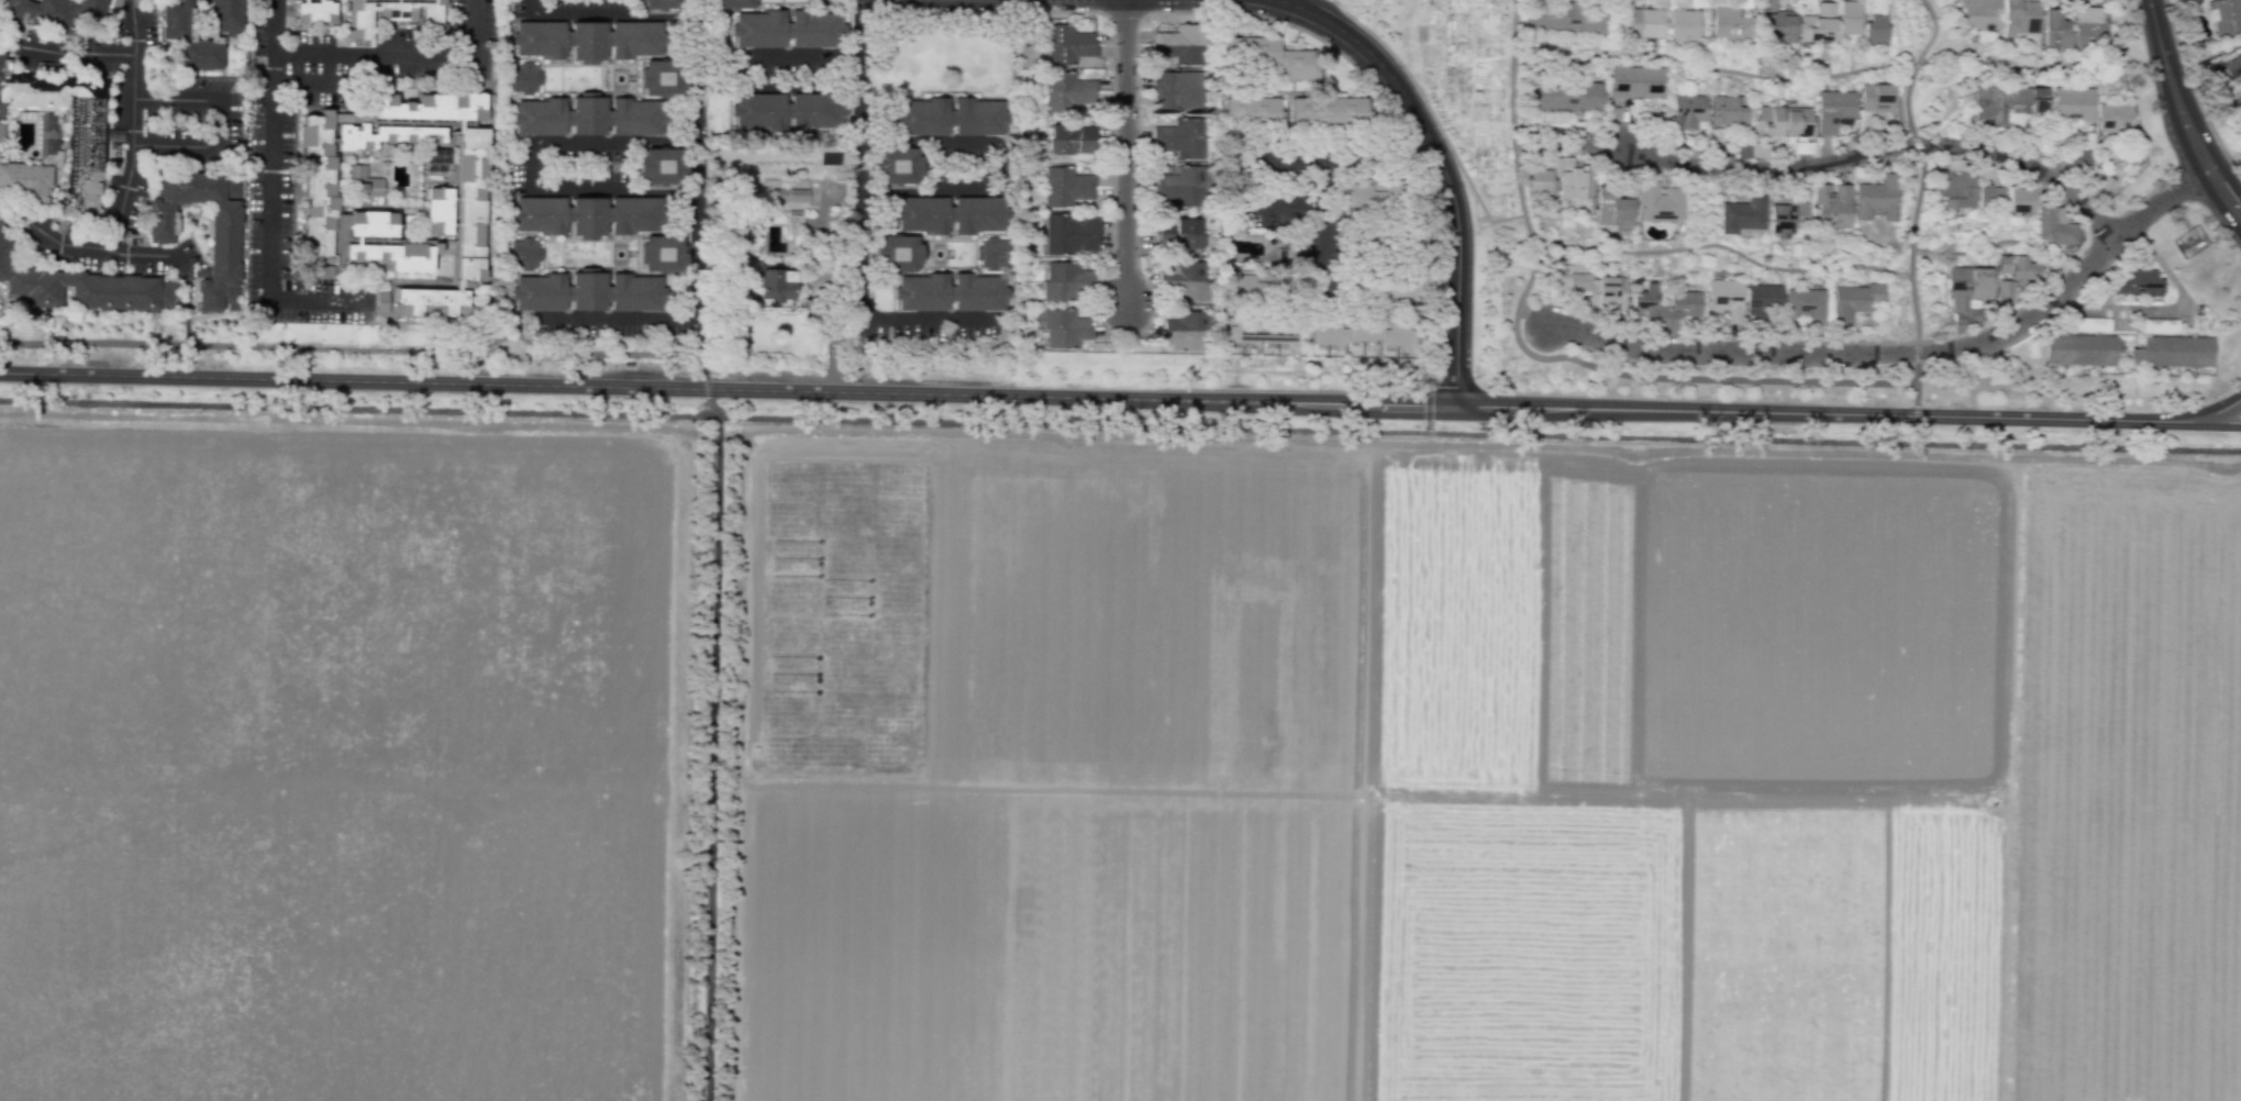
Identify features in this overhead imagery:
road: (1285, 0)
building: (662, 2)
building: (734, 3)
road: (608, 13)
building: (1981, 13)
building: (315, 15)
building: (396, 15)
building: (1561, 15)
building: (1851, 16)
building: (2020, 16)
building: (2225, 16)
building: (57, 18)
building: (1824, 22)
building: (1642, 24)
building: (1730, 25)
building: (2089, 25)
street lamp: (1289, 26)
building: (1685, 26)
building: (1876, 26)
building: (1782, 27)
building: (788, 29)
building: (2054, 30)
road: (1933, 31)
building: (1064, 32)
road: (12, 34)
building: (586, 37)
building: (177, 43)
building: (1179, 44)
building: (1069, 49)
road: (2203, 49)
road: (76, 52)
road: (400, 52)
road: (487, 52)
building: (1269, 53)
road: (1915, 64)
building: (2232, 66)
road: (2028, 67)
road: (746, 68)
road: (1711, 68)
building: (661, 73)
building: (524, 78)
building: (1067, 79)
street lamp: (2150, 79)
building: (1635, 81)
road: (311, 87)
building: (1177, 90)
building: (1565, 96)
building: (1064, 98)
building: (1879, 99)
building: (2027, 99)
road: (1907, 101)
building: (1988, 103)
building: (2073, 103)
building: (786, 107)
building: (1251, 108)
building: (1329, 109)
building: (432, 110)
building: (1834, 110)
building: (1730, 111)
building: (1687, 114)
road: (1433, 115)
building: (587, 116)
road: (2182, 116)
building: (950, 118)
building: (2115, 118)
building: (1768, 121)
building: (1799, 122)
road: (222, 124)
road: (132, 126)
building: (1179, 126)
building: (1061, 127)
building: (46, 131)
building: (1, 133)
building: (1085, 138)
building: (84, 140)
building: (393, 142)
building: (1058, 143)
building: (1181, 144)
road: (1918, 144)
road: (1575, 145)
road: (1251, 147)
road: (1883, 149)
road: (1125, 152)
road: (695, 158)
building: (892, 159)
building: (661, 160)
road: (531, 163)
road: (996, 165)
road: (501, 167)
road: (1442, 167)
road: (1318, 173)
building: (1183, 174)
building: (1066, 175)
building: (1539, 180)
building: (1572, 183)
building: (366, 186)
building: (1955, 187)
building: (1180, 191)
road: (273, 192)
building: (320, 192)
building: (1064, 192)
building: (789, 194)
building: (1990, 194)
building: (1375, 196)
building: (1876, 197)
building: (2020, 199)
building: (1658, 202)
building: (1832, 207)
building: (475, 208)
building: (1611, 208)
building: (443, 213)
building: (947, 213)
building: (1744, 213)
road: (2179, 213)
building: (587, 215)
building: (1779, 219)
building: (224, 222)
building: (1069, 222)
building: (1186, 222)
building: (794, 223)
building: (374, 225)
road: (858, 225)
building: (2054, 226)
street lamp: (1473, 232)
building: (1188, 237)
building: (1069, 241)
building: (1387, 241)
road: (1719, 244)
road: (82, 245)
road: (1912, 247)
building: (894, 249)
road: (1965, 249)
building: (990, 251)
building: (659, 252)
building: (524, 253)
street lamp: (1110, 253)
building: (1284, 255)
building: (398, 259)
building: (2016, 267)
building: (1065, 269)
building: (1184, 269)
road: (1902, 274)
road: (1908, 275)
building: (1571, 278)
building: (2134, 280)
building: (773, 281)
building: (1256, 285)
building: (1384, 285)
building: (1967, 286)
building: (1187, 287)
building: (76, 288)
building: (1062, 288)
building: (947, 289)
building: (586, 291)
building: (2005, 291)
building: (1612, 293)
building: (1764, 296)
road: (187, 299)
building: (1685, 300)
building: (1727, 300)
building: (384, 301)
building: (1854, 301)
building: (1645, 302)
building: (433, 305)
building: (1807, 305)
road: (2166, 308)
road: (1531, 316)
road: (610, 318)
building: (1062, 318)
building: (1187, 319)
building: (2090, 322)
building: (2159, 323)
building: (1261, 331)
road: (829, 334)
building: (1364, 334)
building: (1066, 335)
building: (1183, 336)
road: (701, 348)
street lamp: (1583, 348)
building: (2079, 348)
road: (354, 349)
building: (2173, 352)
road: (1905, 353)
road: (1917, 353)
road: (858, 354)
road: (1551, 357)
road: (496, 359)
street lamp: (1771, 367)
street lamp: (1473, 369)
road: (1916, 372)
road: (706, 388)
street lamp: (2211, 397)
road: (1097, 398)
street lamp: (1922, 398)
street lamp: (719, 401)
road: (2218, 410)
road: (1916, 415)
road: (957, 422)
road: (2217, 424)
road: (672, 430)
road: (1916, 434)
road: (2078, 447)
road: (746, 459)
road: (709, 748)
road: (1360, 772)

